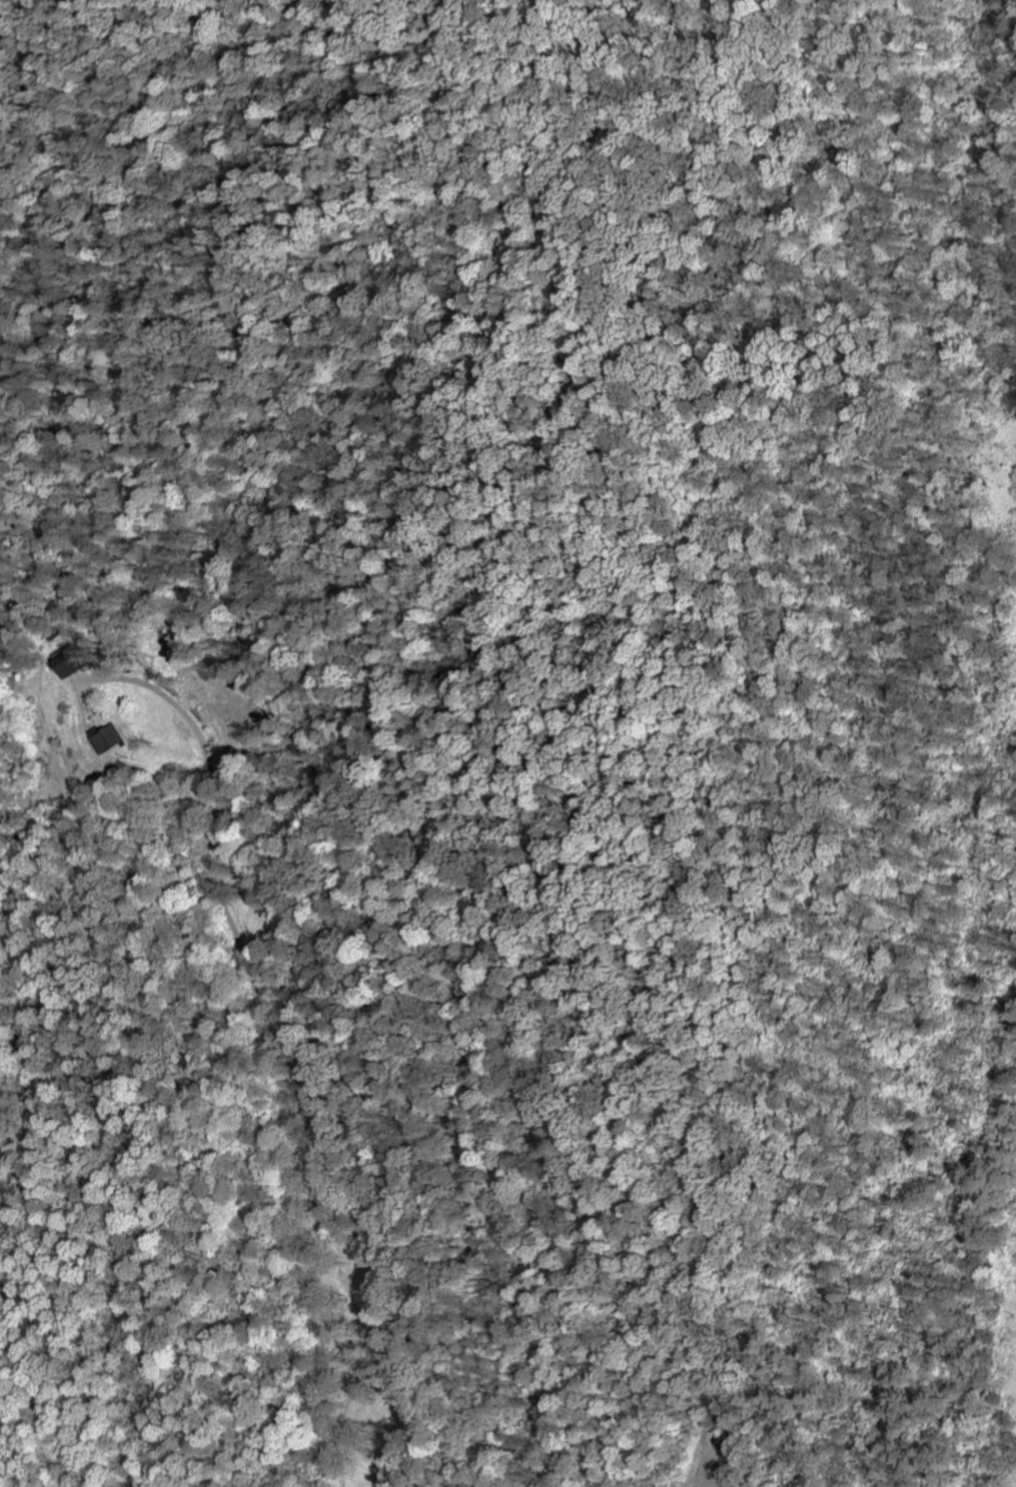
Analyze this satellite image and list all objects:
road: (1007, 139)
building: (108, 740)
road: (693, 1475)

